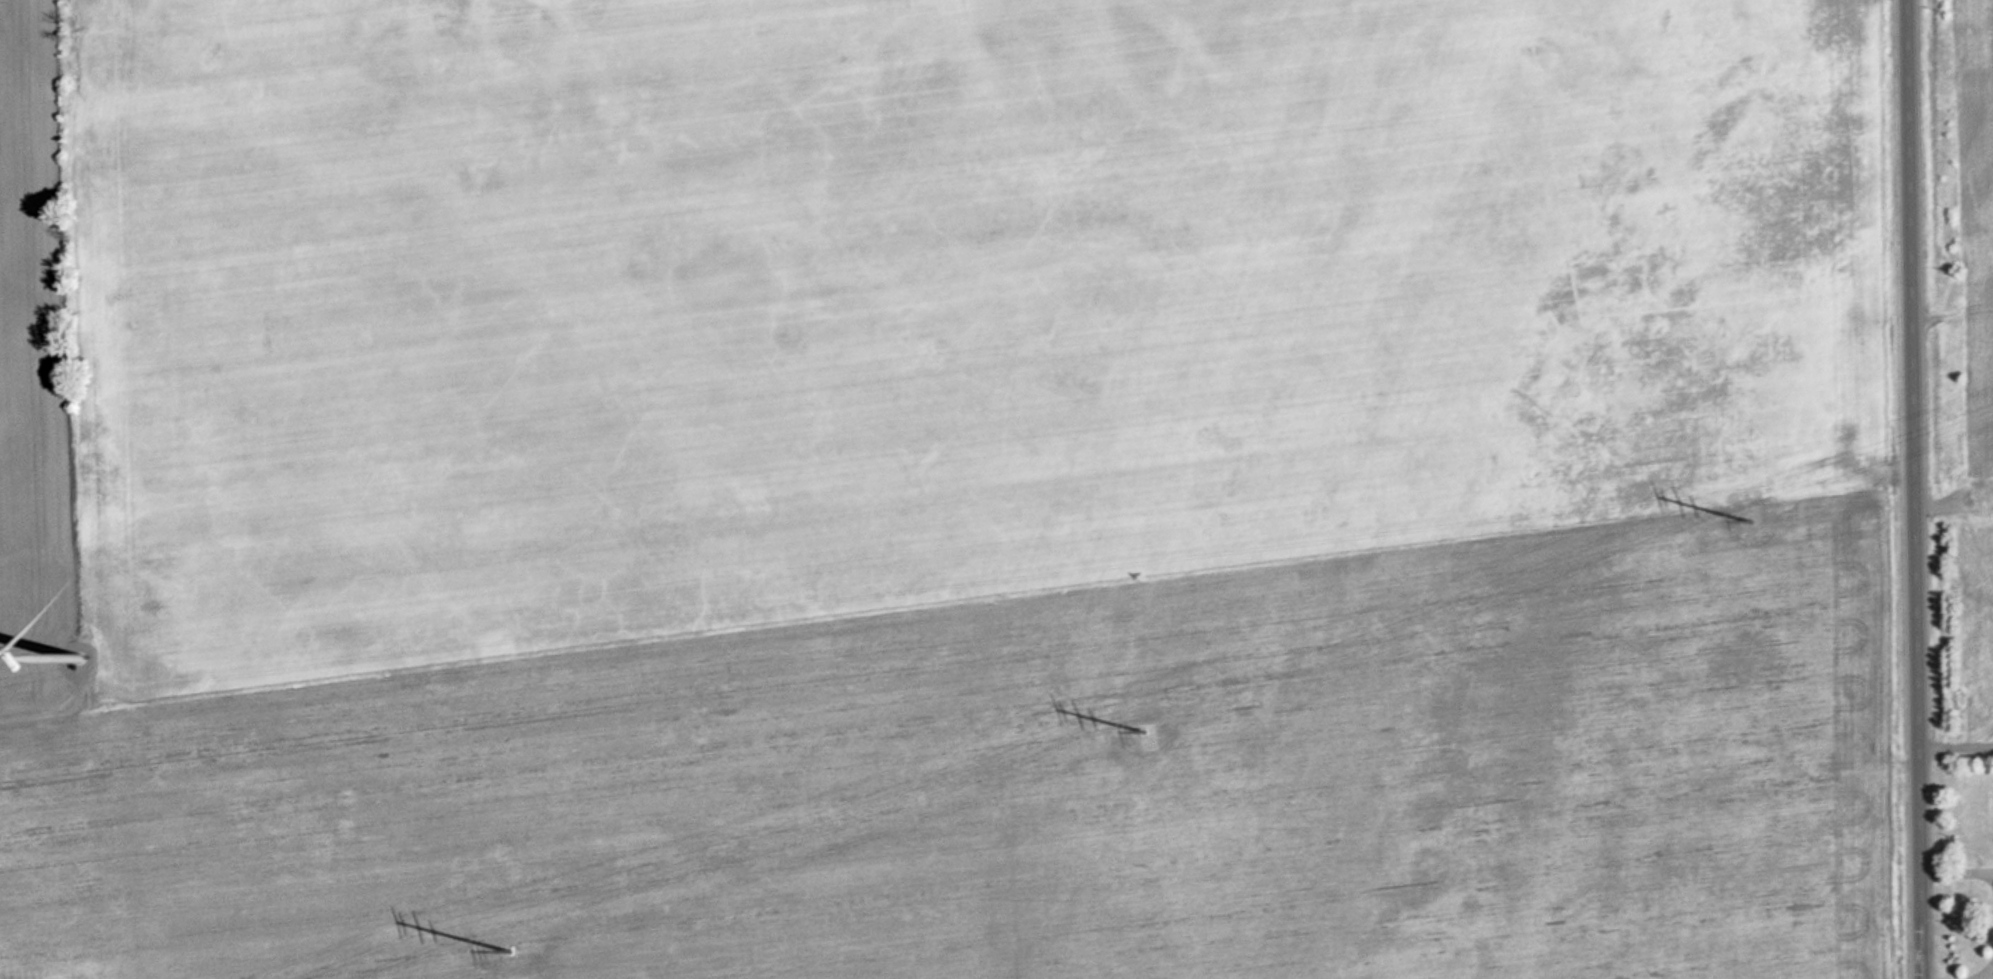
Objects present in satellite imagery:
road: (1916, 489)
power tower: (1759, 521)
wind turbine: (79, 655)
power tower: (1152, 728)
power tower: (517, 950)

